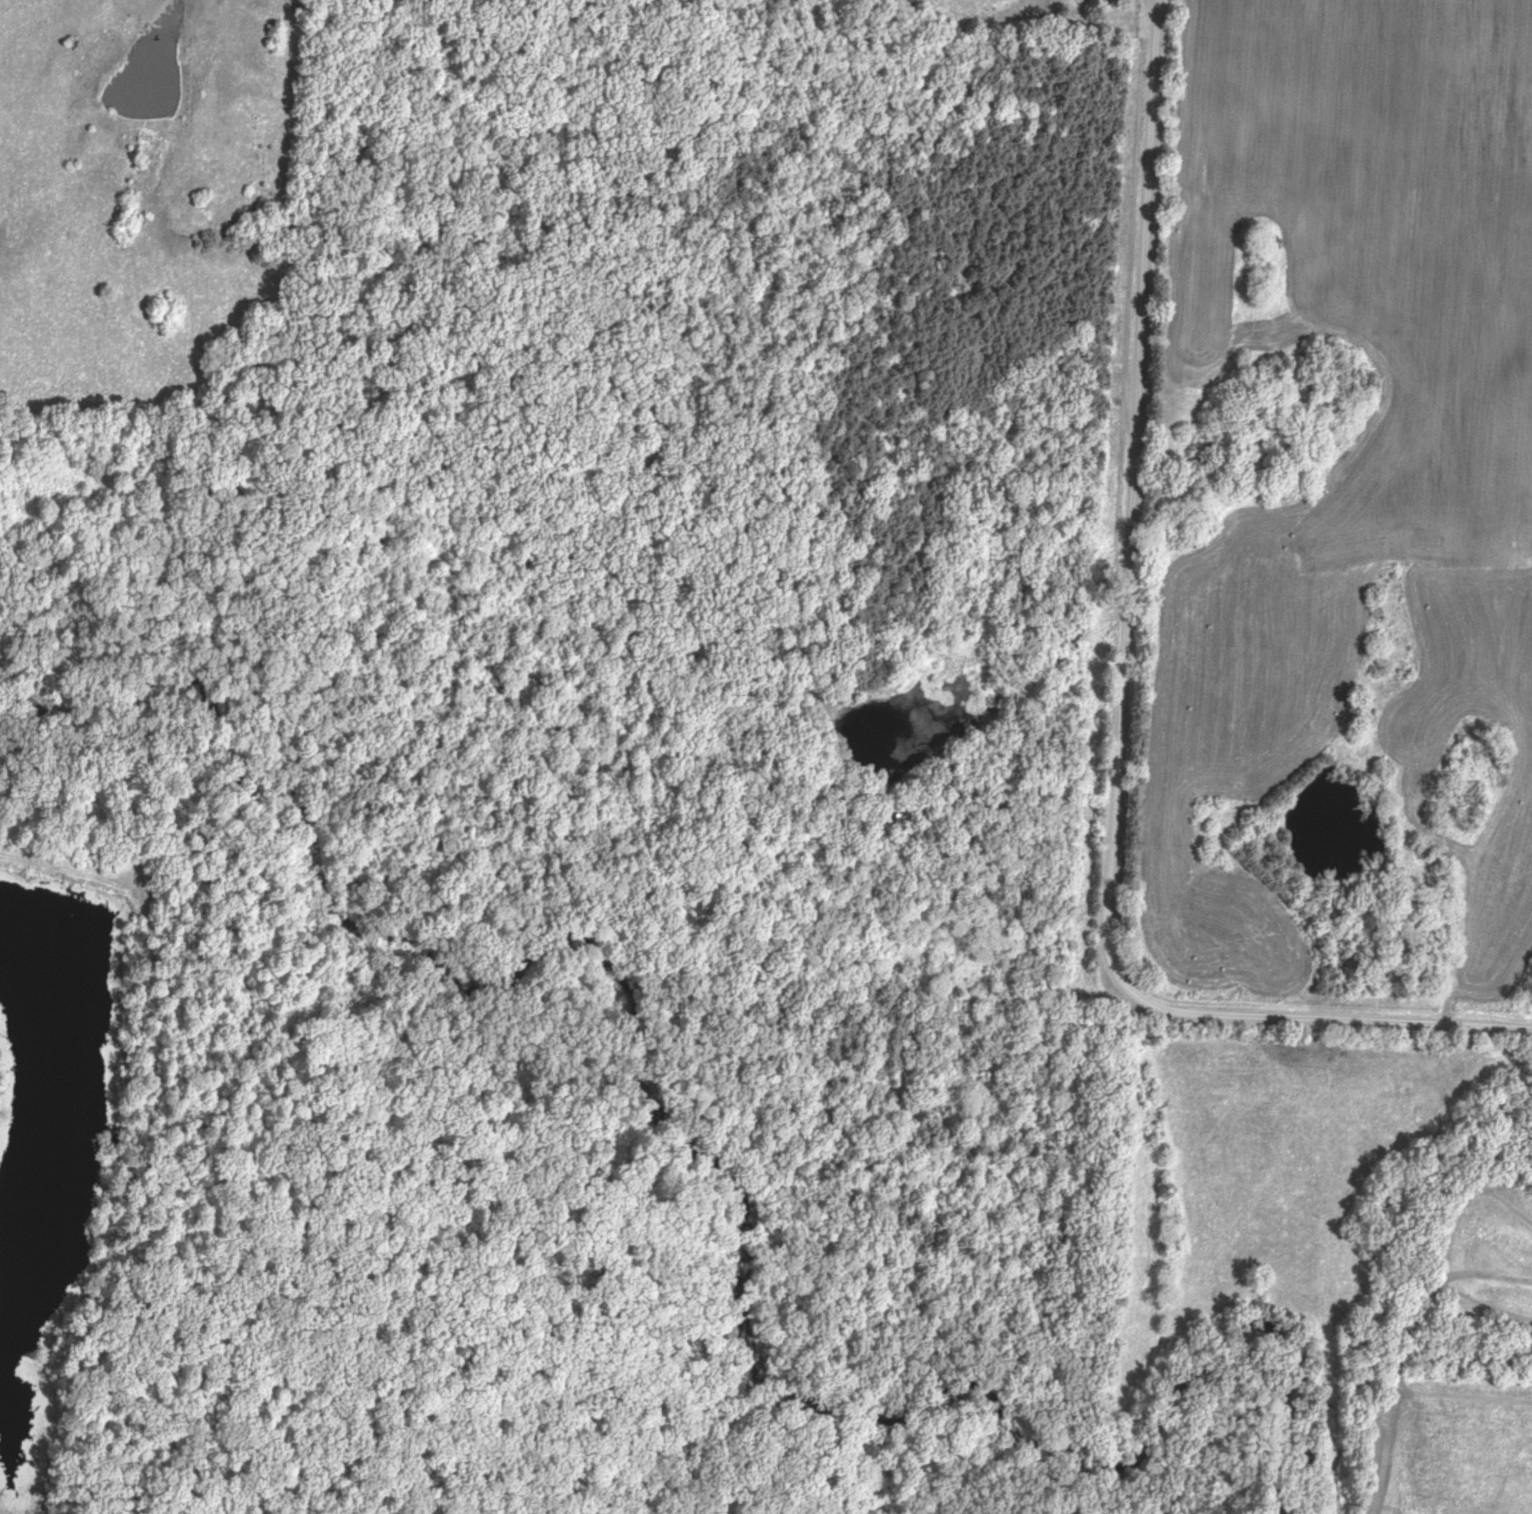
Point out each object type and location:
road: (1125, 702)

